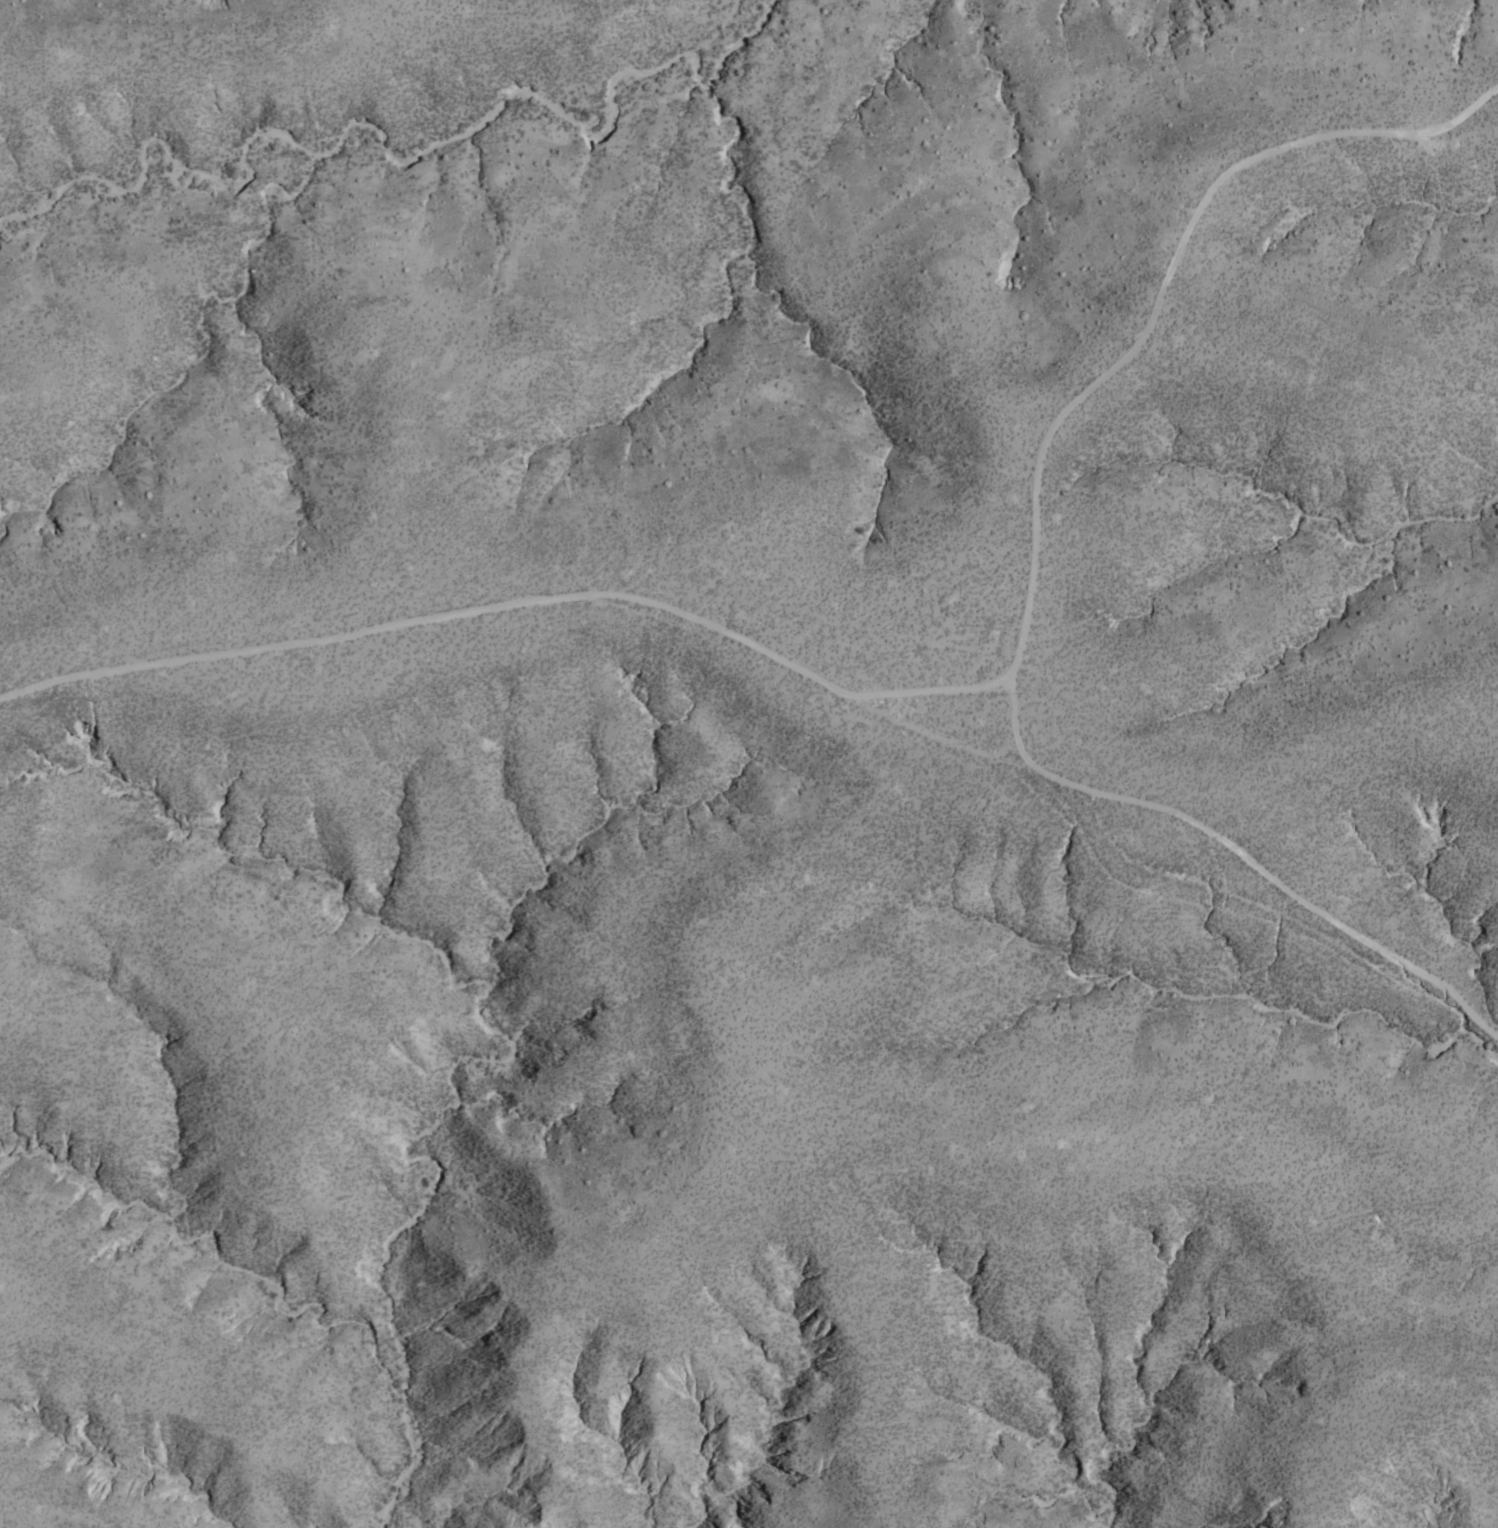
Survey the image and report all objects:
road: (1028, 568)
road: (514, 605)

